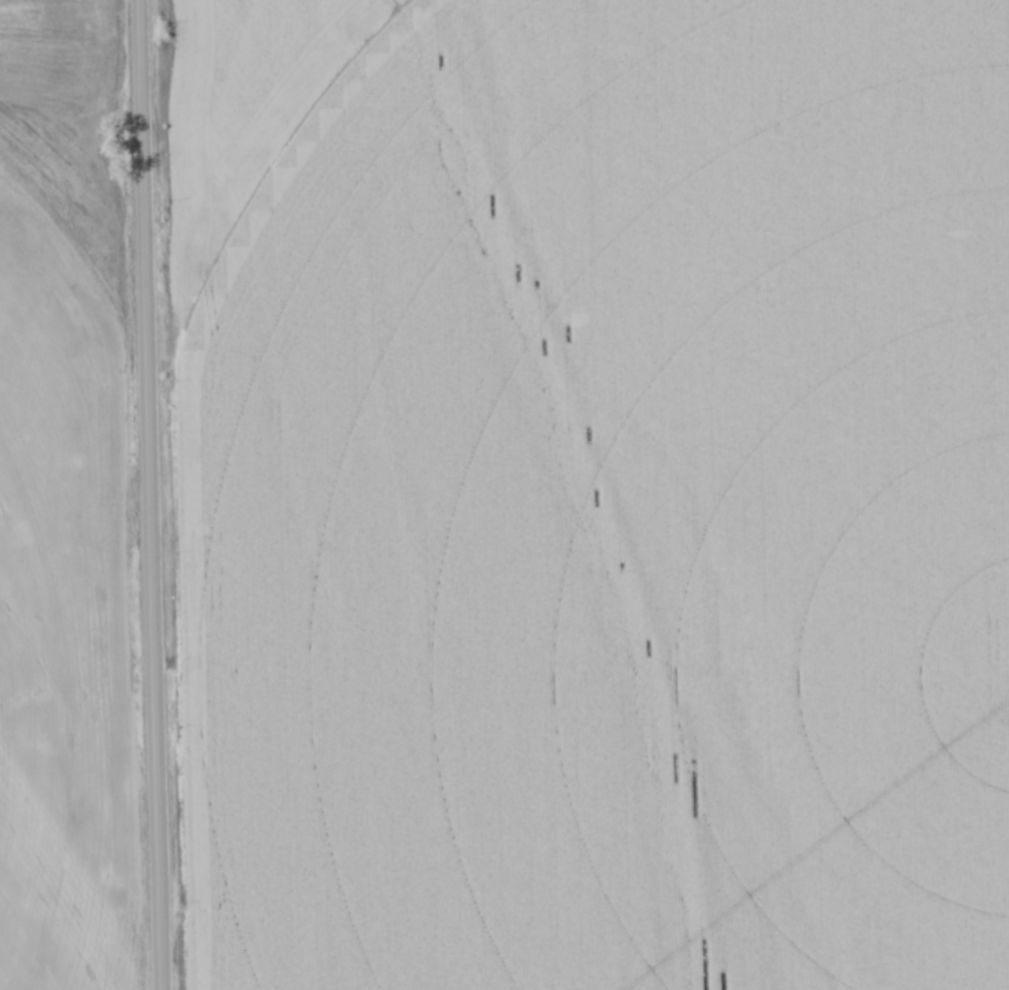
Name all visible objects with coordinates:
road: (151, 495)

